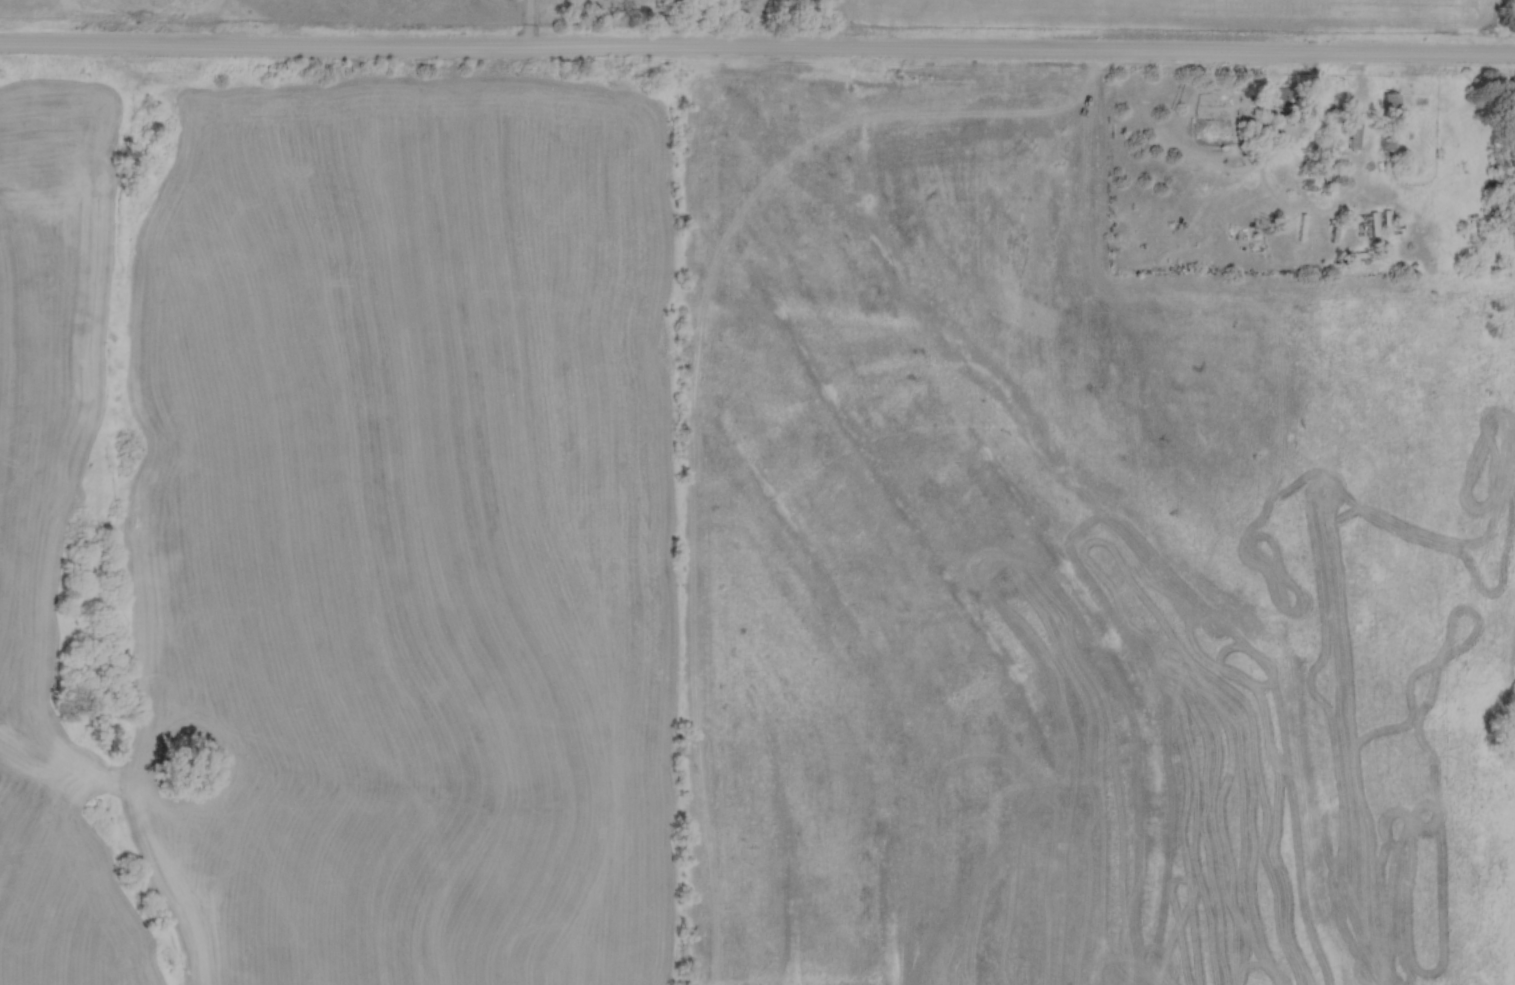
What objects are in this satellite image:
road: (524, 27)
road: (839, 27)
road: (757, 54)
building: (1281, 97)
building: (1390, 103)
building: (1355, 129)
building: (1386, 143)

